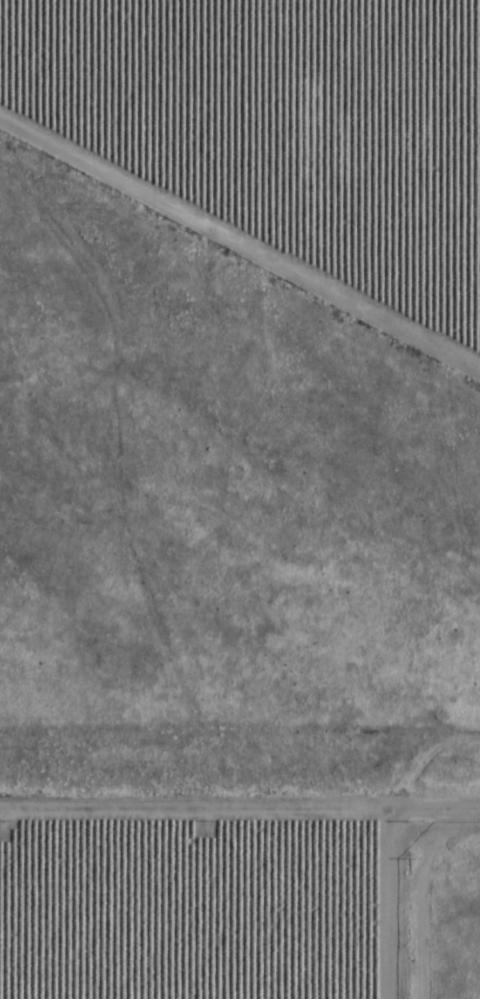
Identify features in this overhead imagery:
crop: (286, 122)
road: (242, 242)
crop: (189, 902)

